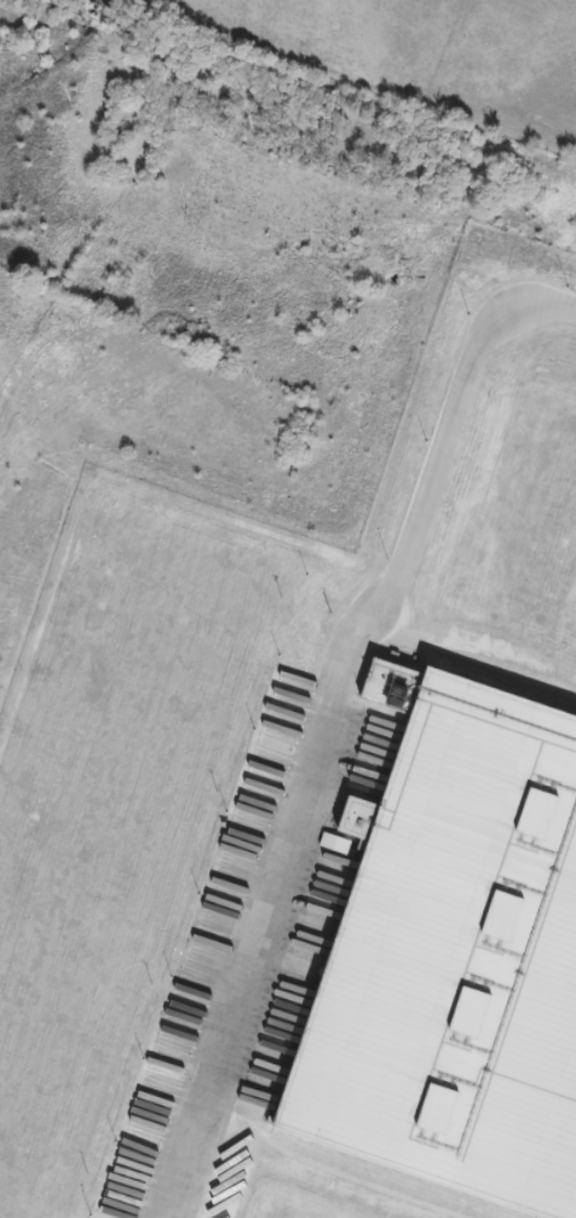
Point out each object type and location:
building: (517, 551)
road: (346, 726)
building: (450, 963)

